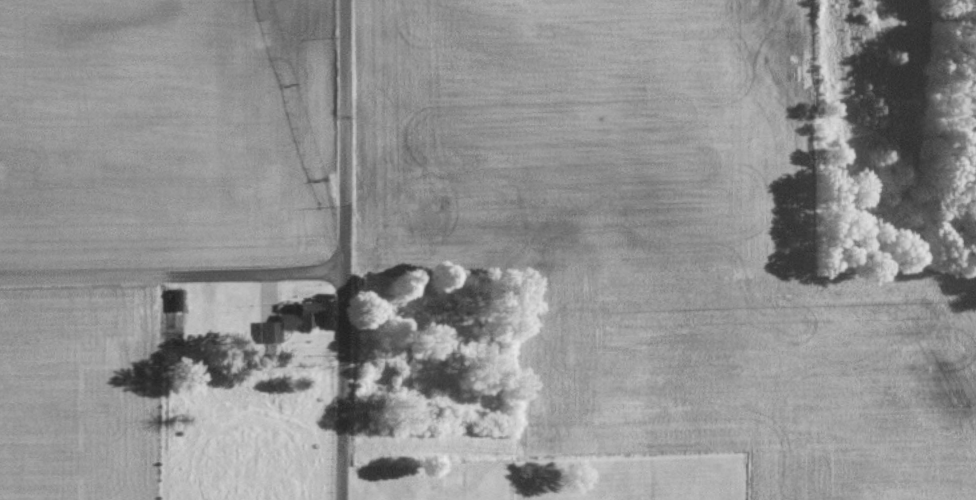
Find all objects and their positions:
road: (341, 250)
road: (171, 273)
building: (285, 322)

